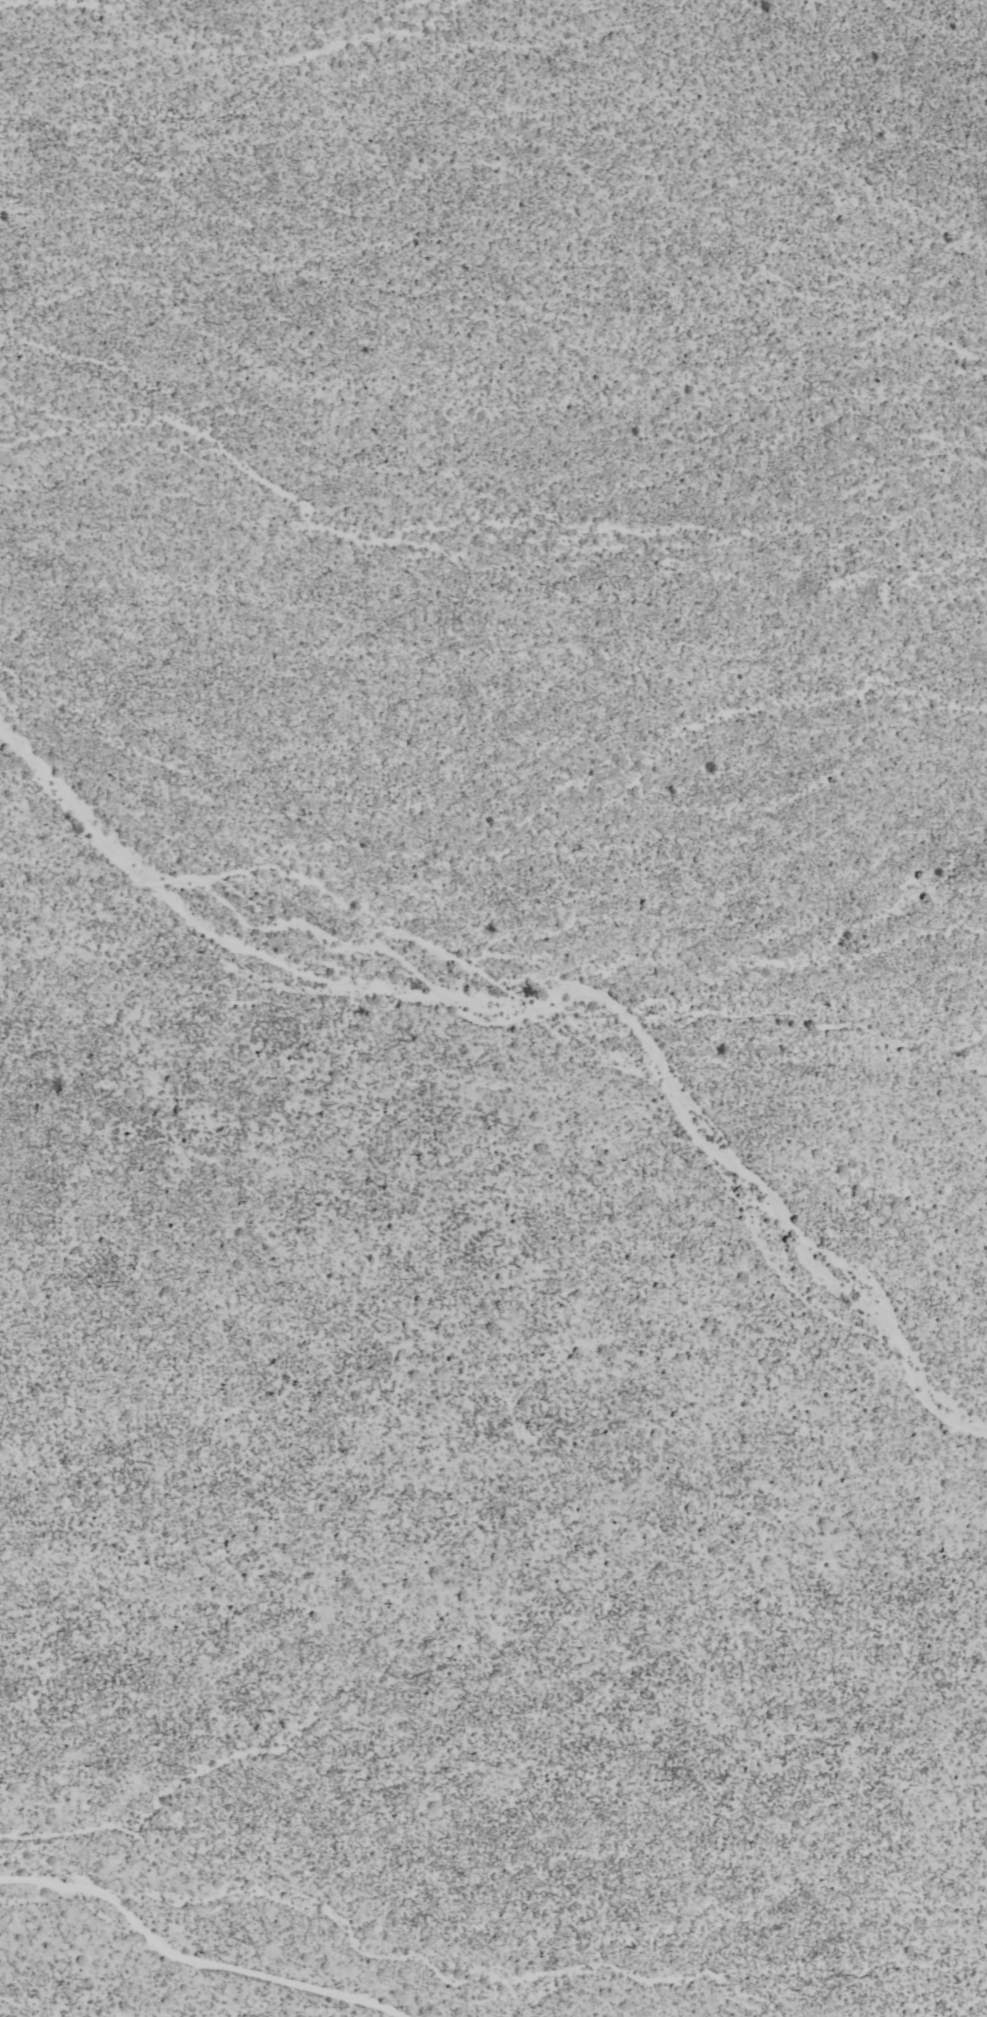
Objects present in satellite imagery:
road: (191, 1960)

